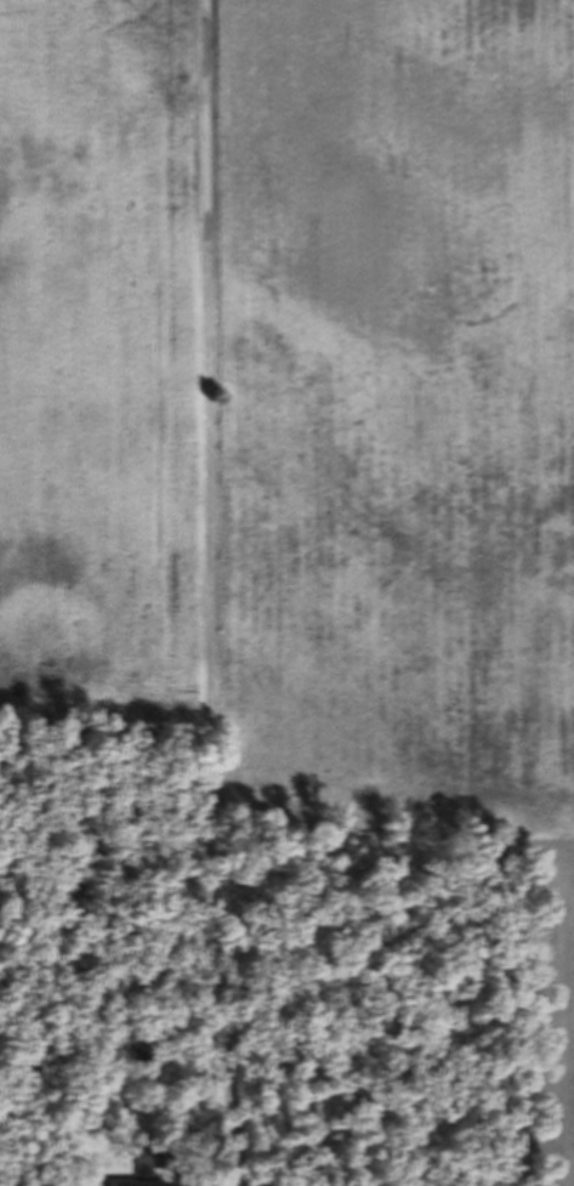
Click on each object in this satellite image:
crop: (301, 402)

